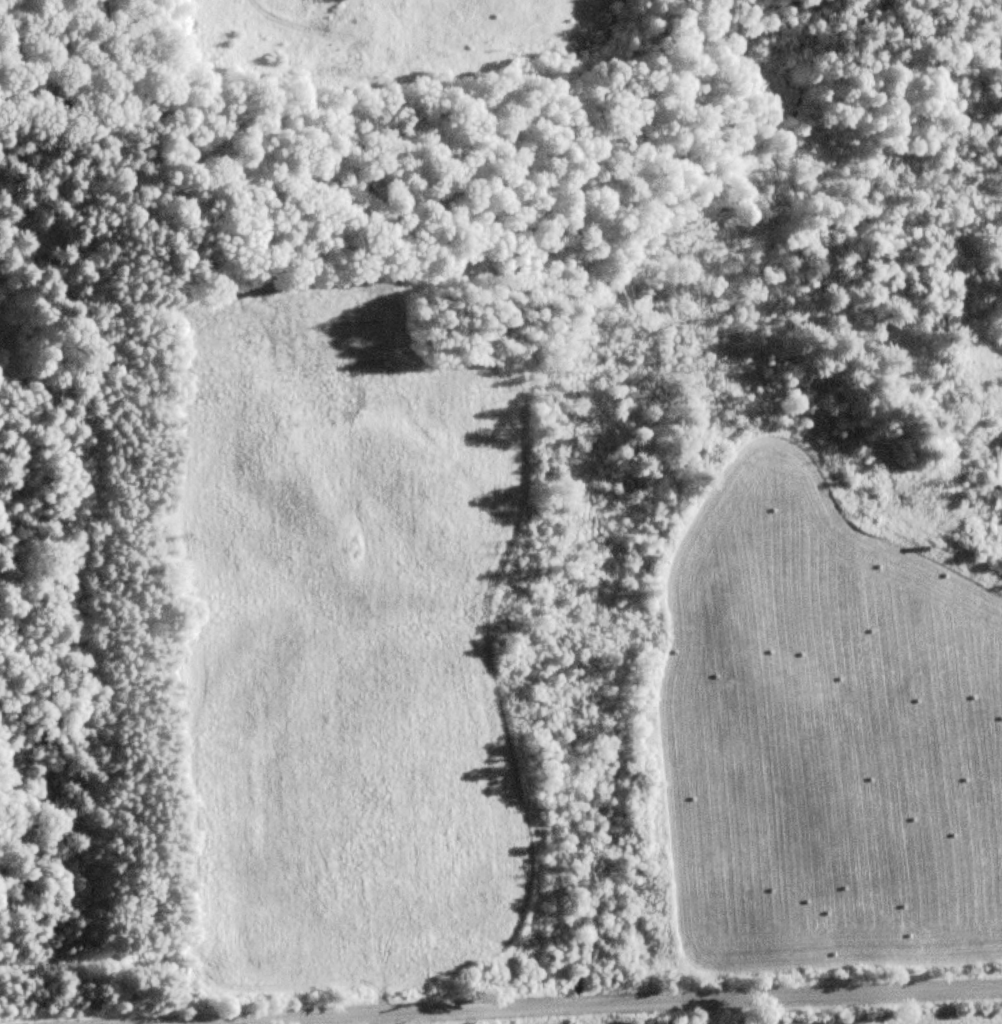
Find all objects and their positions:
road: (501, 1008)

